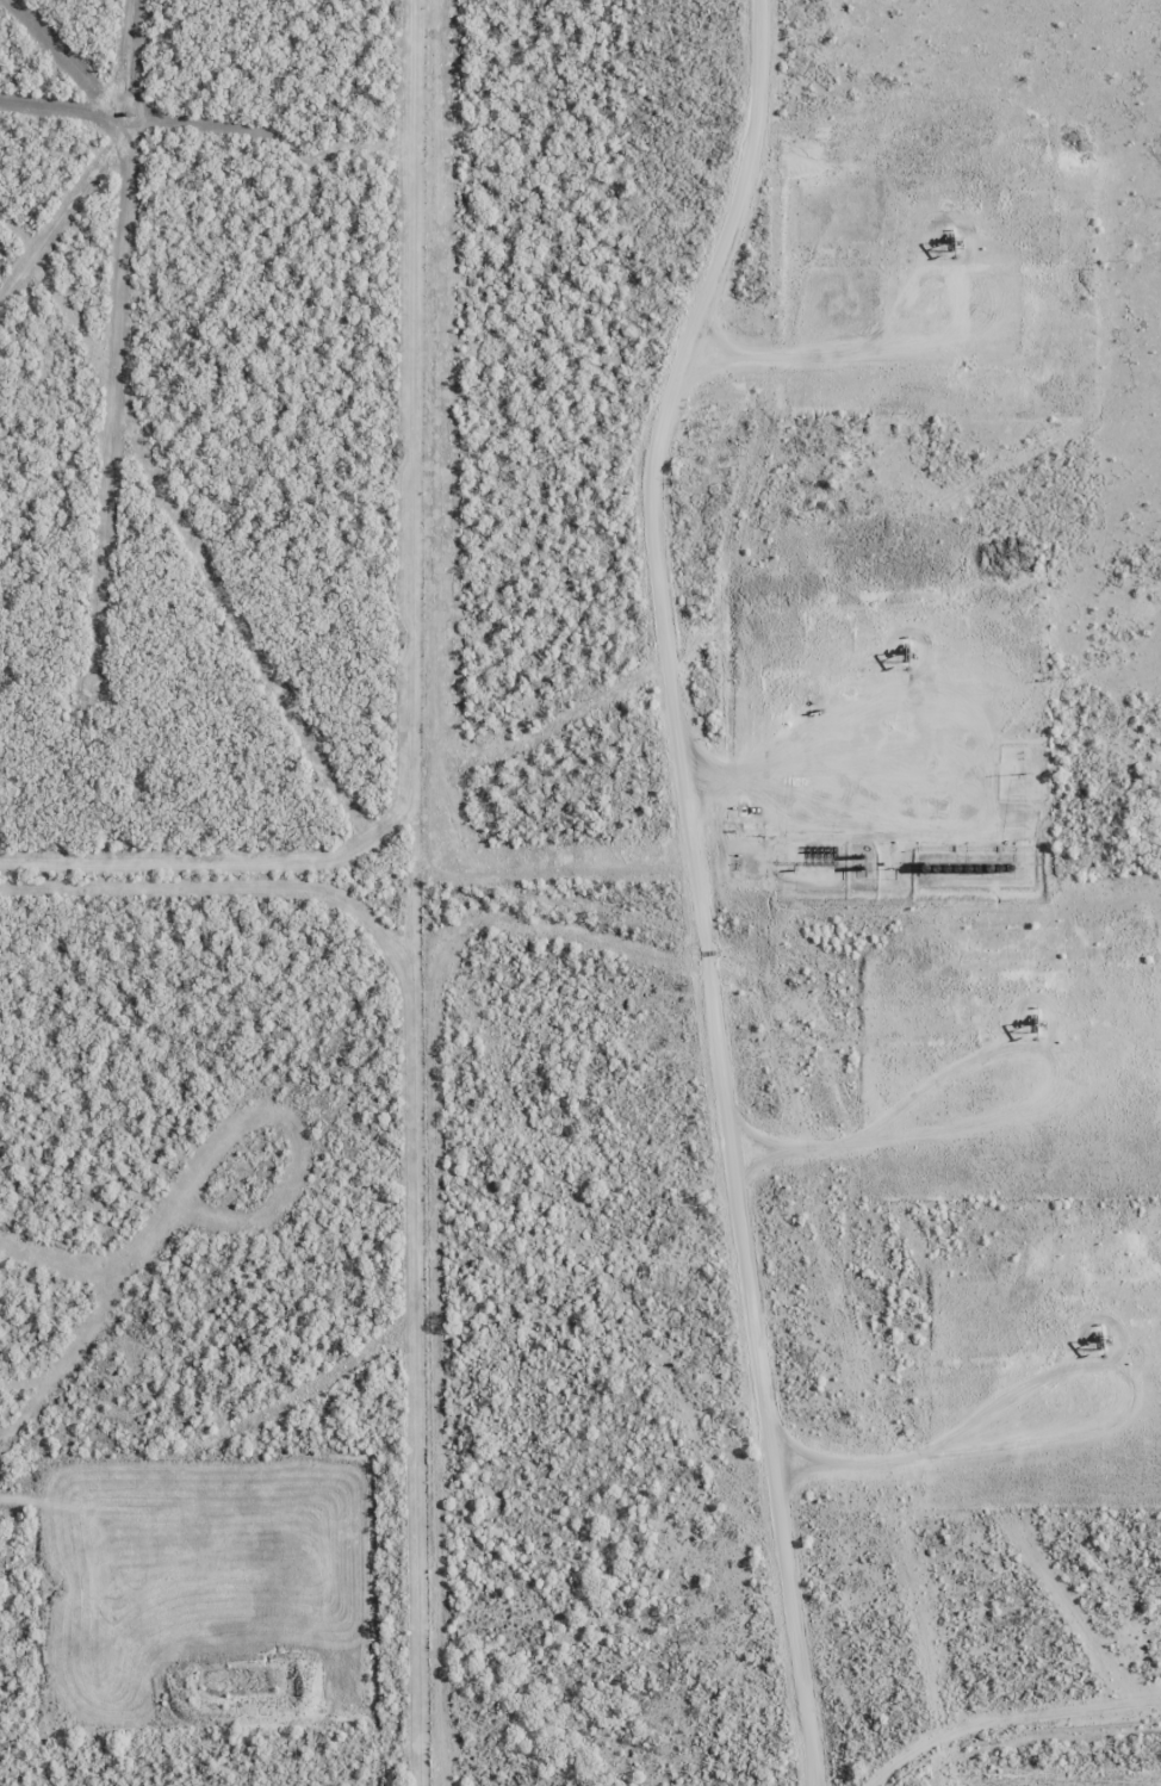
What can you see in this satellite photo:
road: (713, 247)
road: (807, 366)
road: (797, 785)
road: (733, 1139)
road: (838, 1158)
road: (873, 1466)

